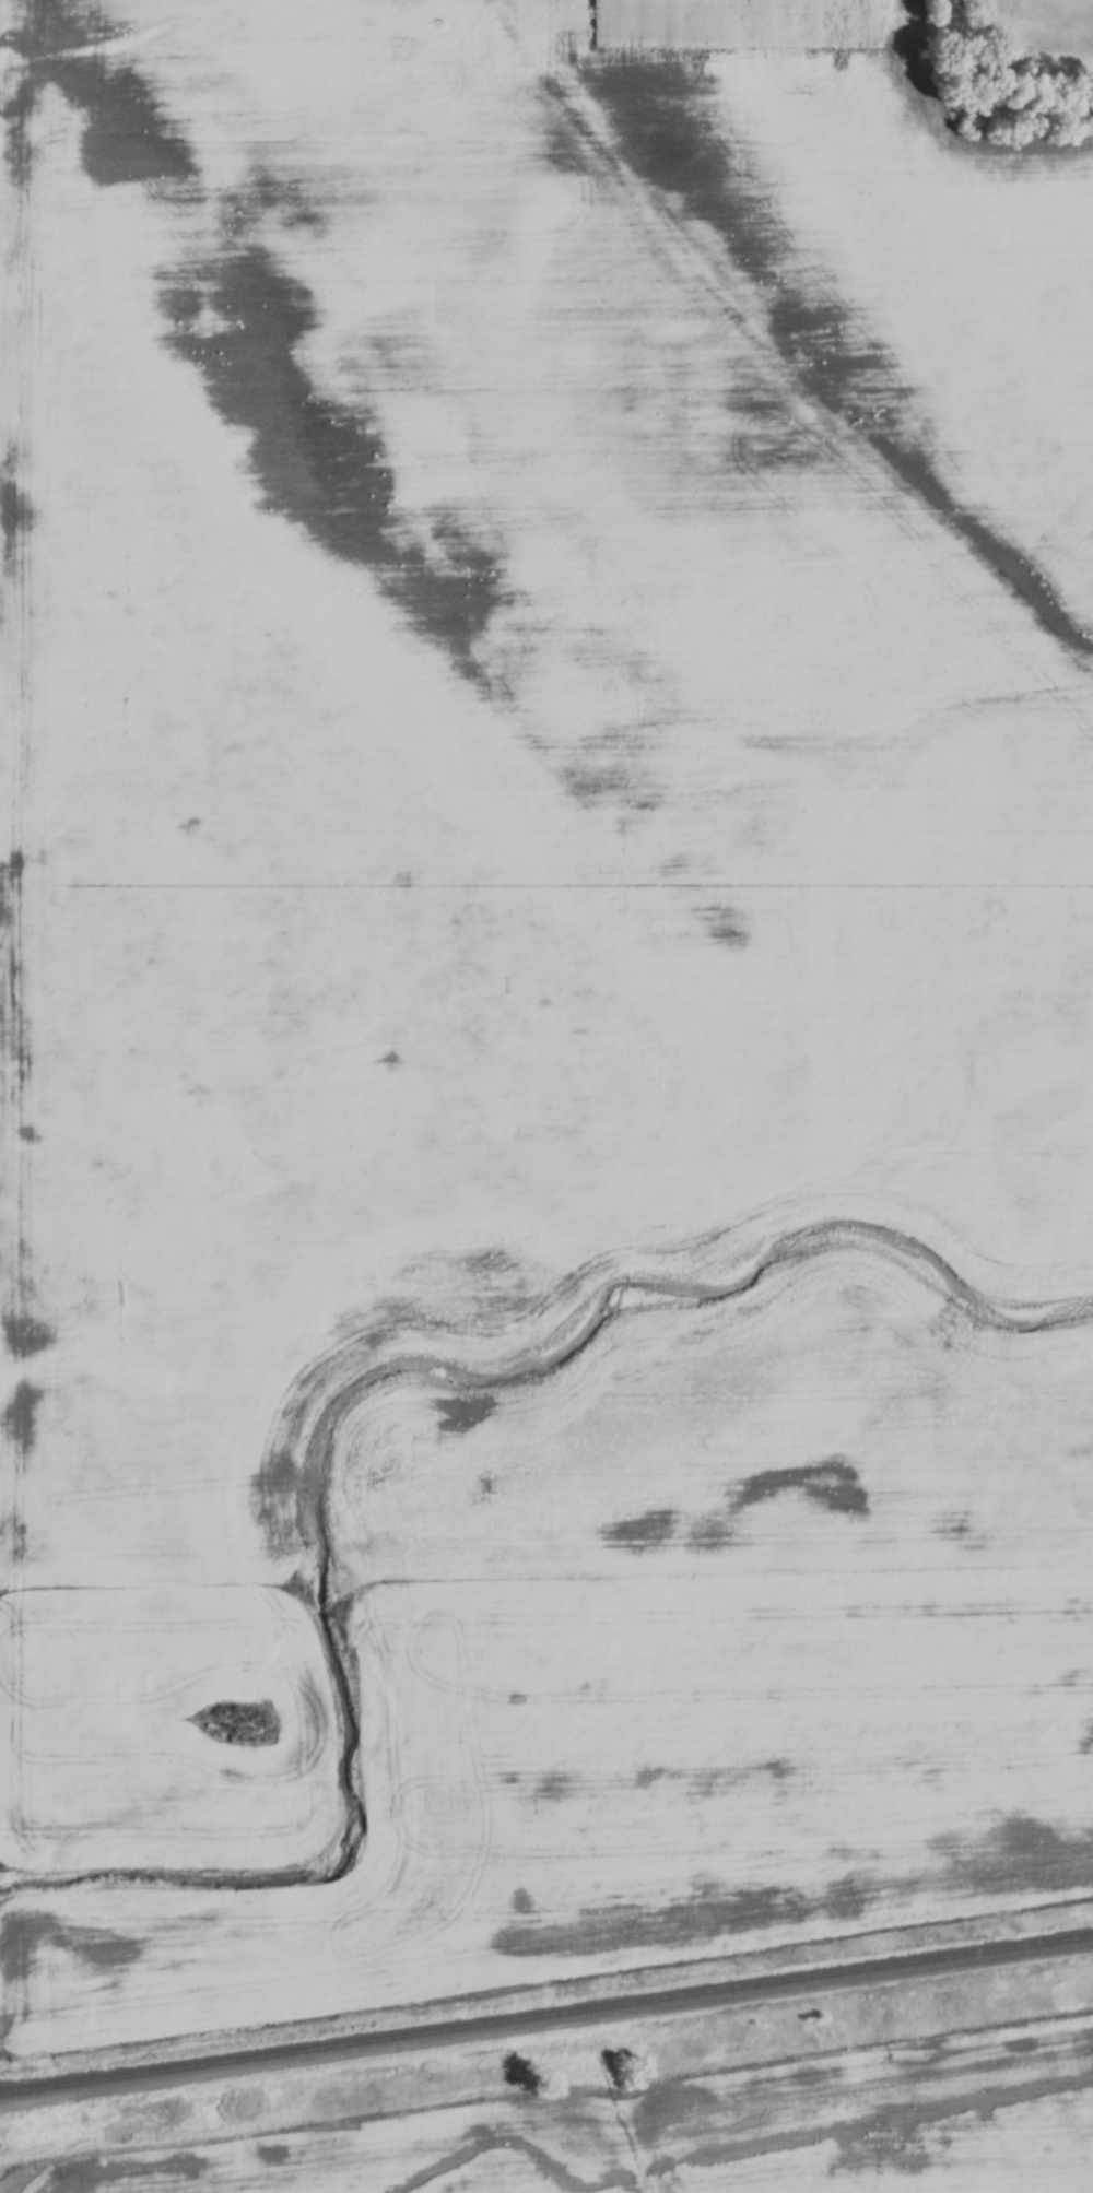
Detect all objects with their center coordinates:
railway: (546, 2014)

